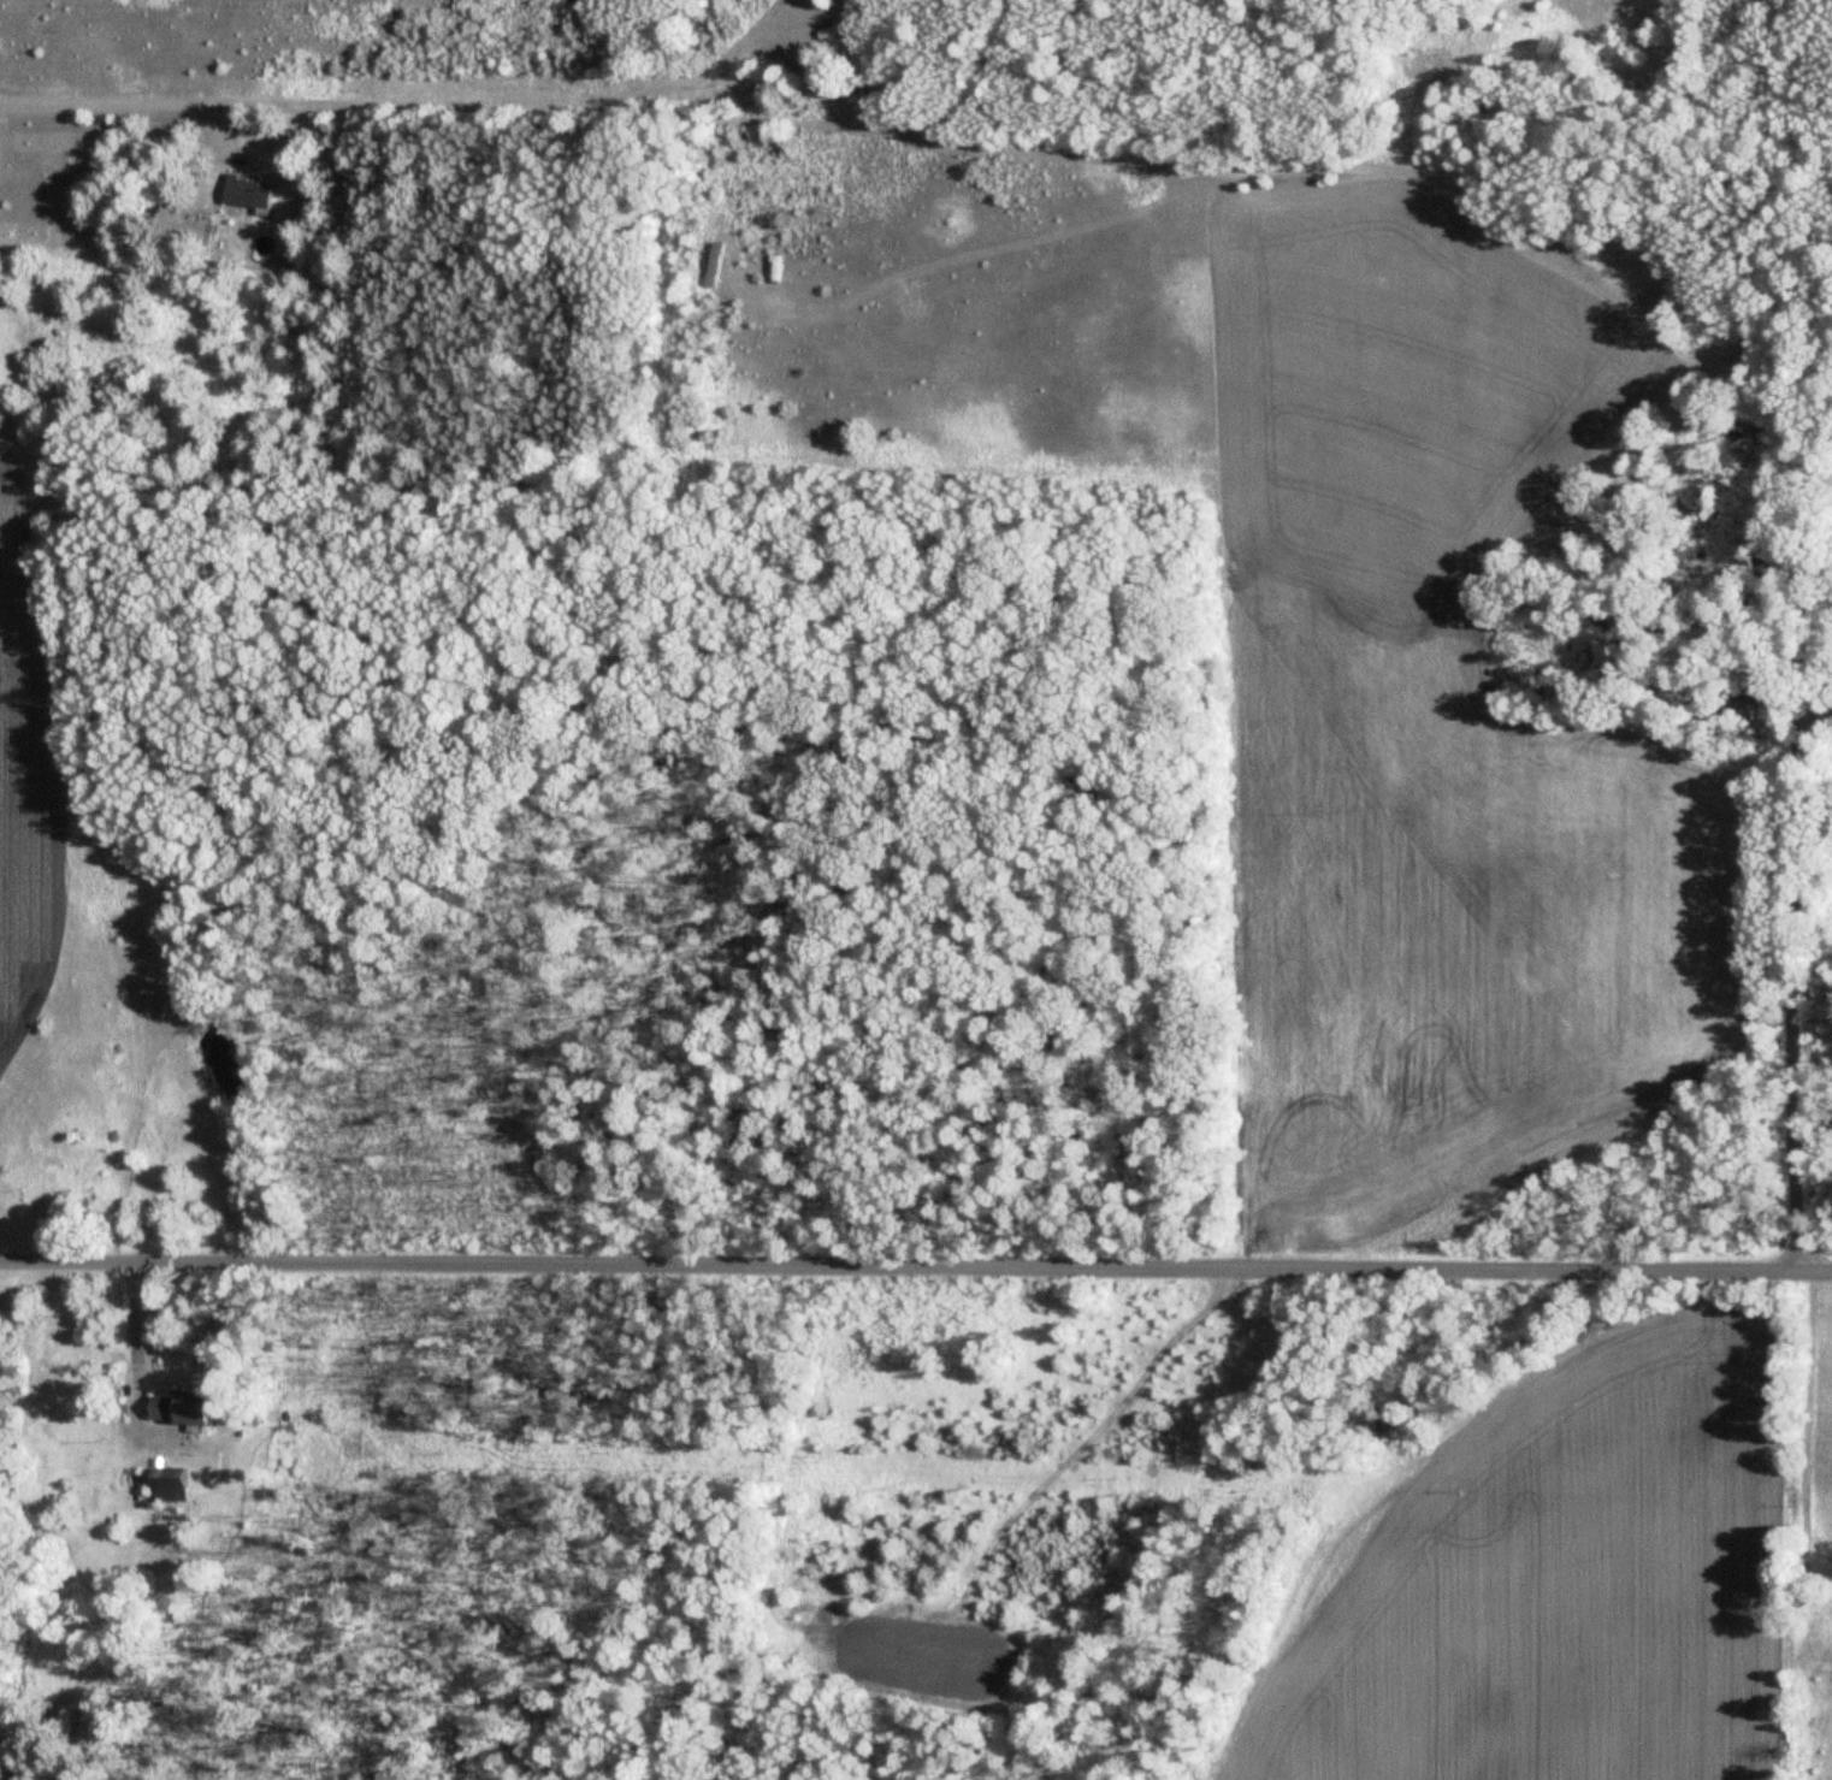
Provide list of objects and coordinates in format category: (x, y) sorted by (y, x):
road: (312, 69)
building: (246, 194)
road: (1815, 492)
road: (1814, 710)
road: (1791, 891)
road: (915, 1265)
road: (128, 1330)
building: (176, 1408)

